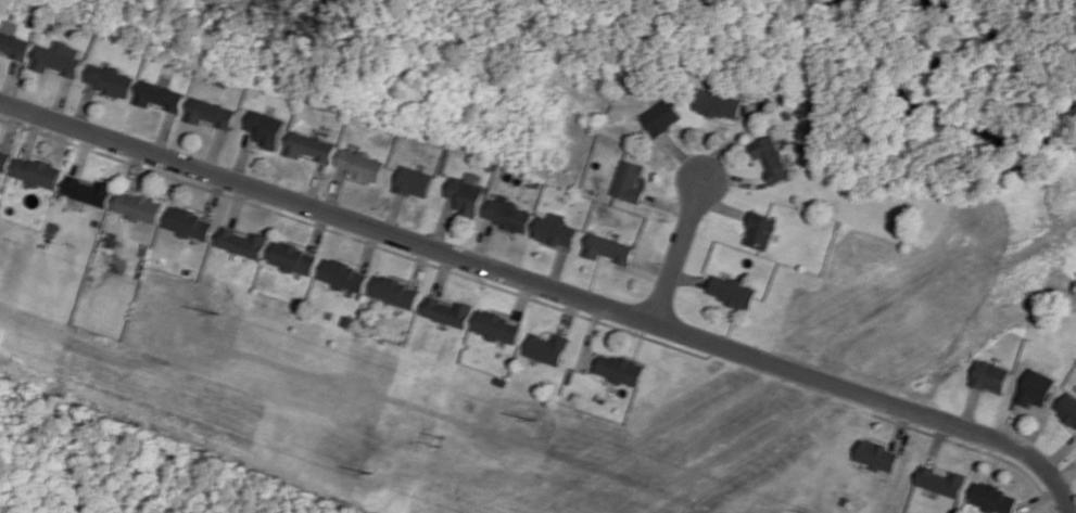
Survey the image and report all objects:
building: (59, 57)
building: (111, 80)
building: (160, 95)
building: (717, 104)
building: (211, 113)
building: (660, 116)
building: (266, 128)
building: (309, 146)
building: (4, 157)
building: (770, 157)
building: (358, 164)
building: (37, 171)
building: (629, 180)
building: (413, 181)
building: (89, 190)
building: (465, 193)
building: (138, 206)
building: (507, 214)
building: (189, 223)
building: (555, 230)
building: (759, 230)
building: (111, 240)
building: (242, 242)
building: (607, 248)
road: (678, 254)
building: (292, 258)
building: (343, 275)
road: (548, 288)
building: (393, 292)
building: (731, 292)
building: (446, 311)
building: (496, 326)
building: (546, 348)
building: (619, 369)
building: (989, 375)
building: (1035, 387)
building: (1067, 408)
building: (874, 454)
power tower: (369, 473)
building: (940, 480)
building: (992, 498)

